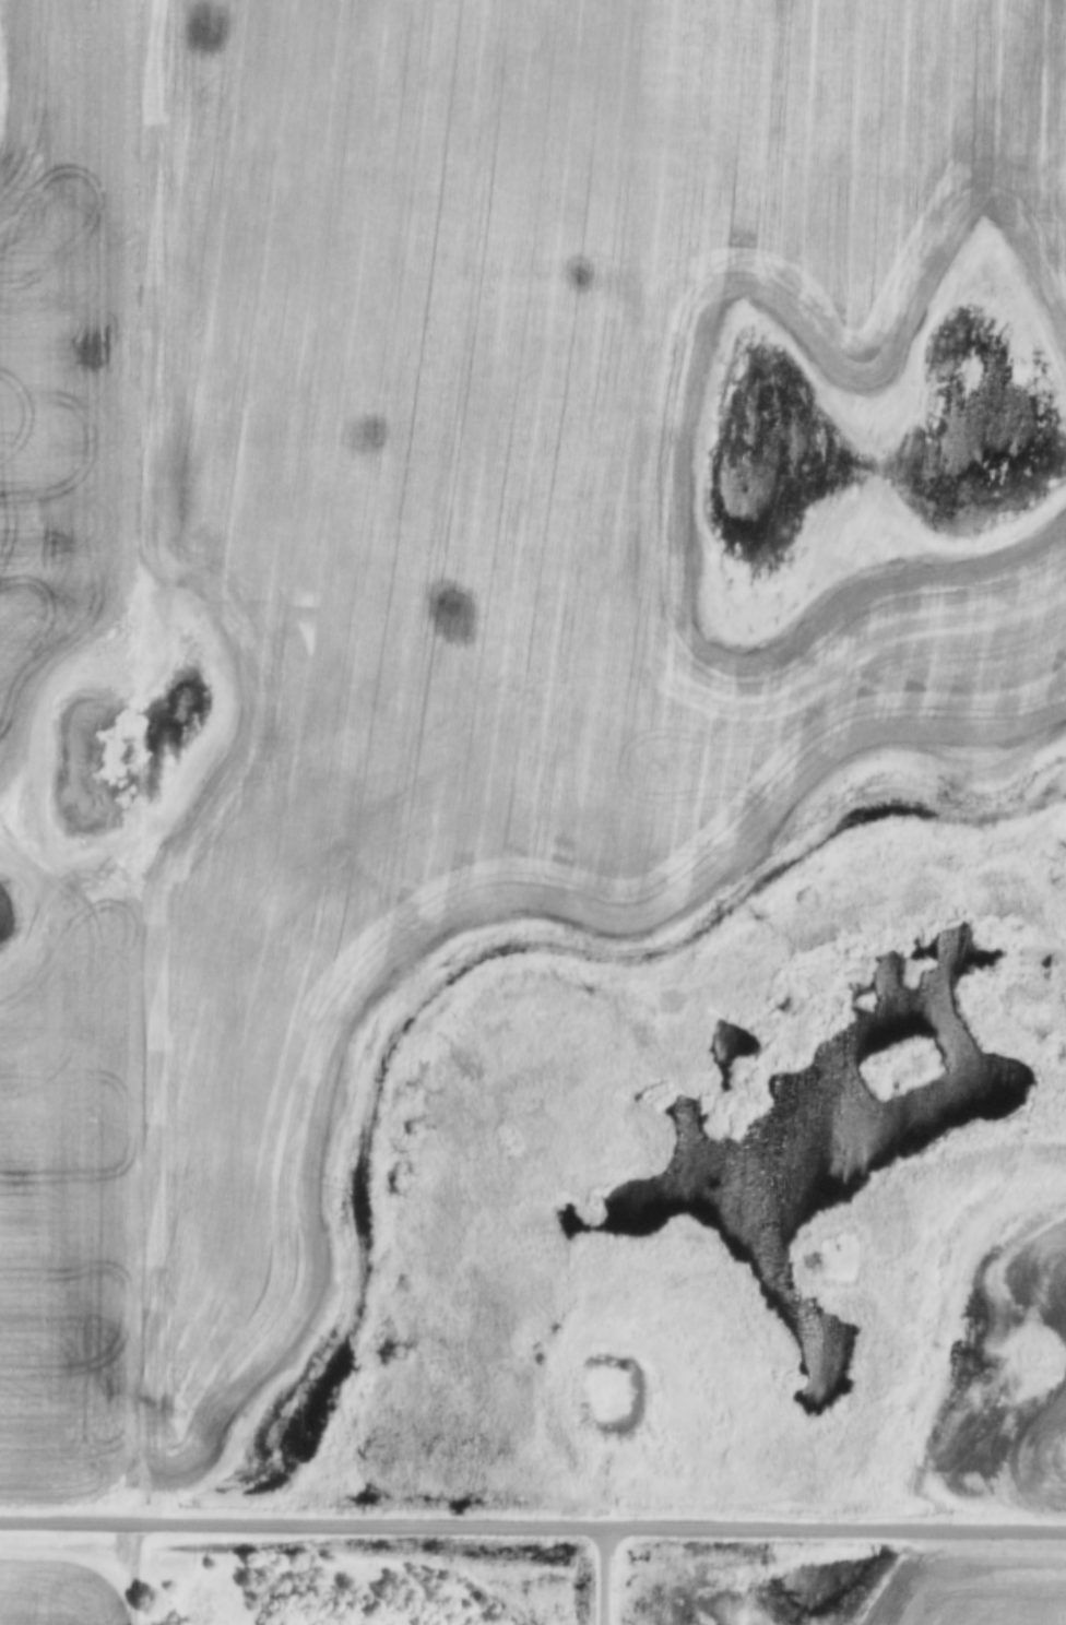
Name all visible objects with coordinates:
road: (532, 1533)
road: (134, 1578)
road: (607, 1579)

